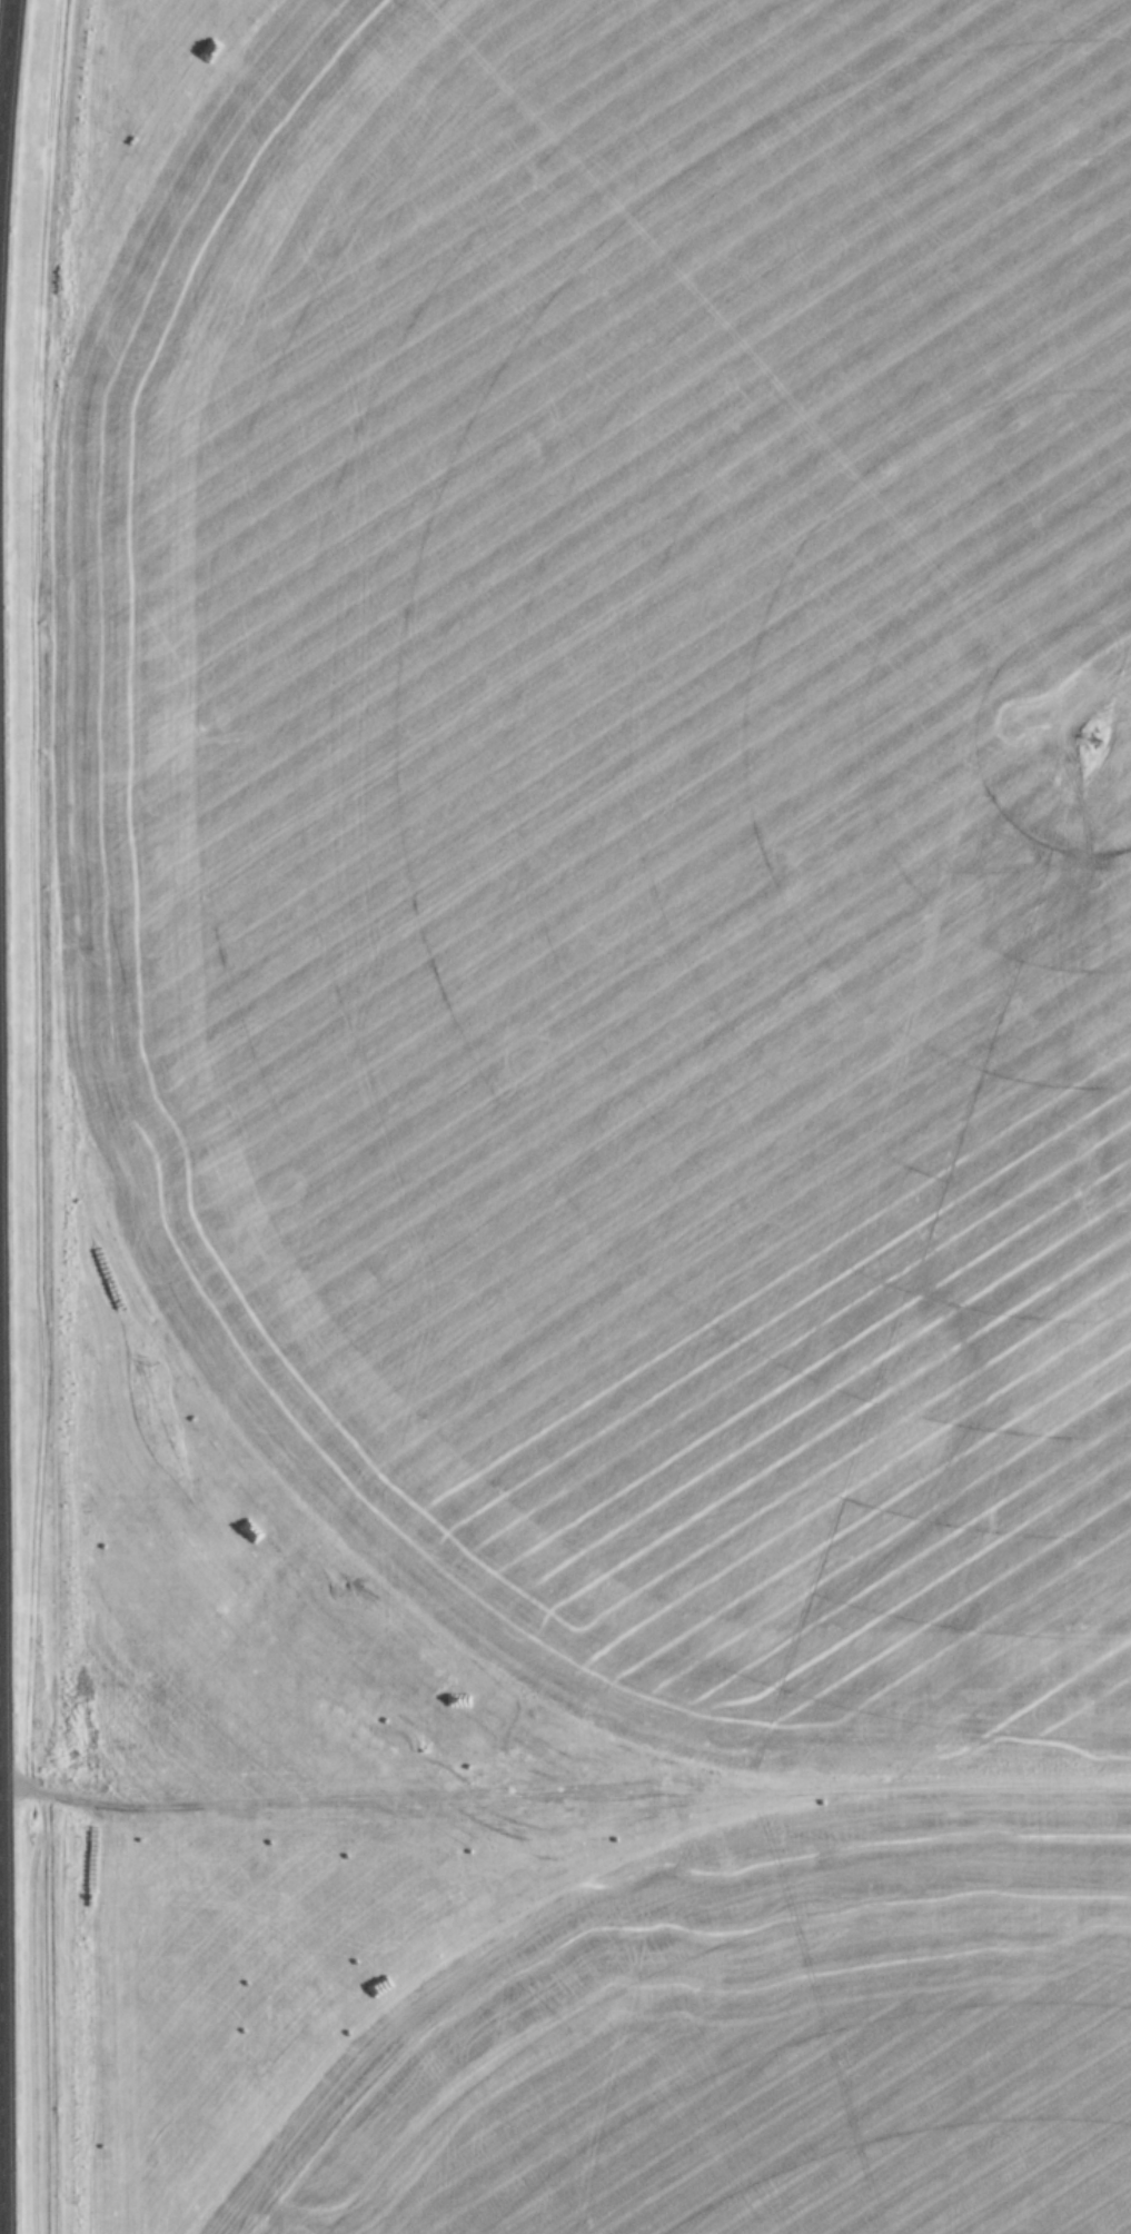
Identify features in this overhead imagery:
road: (7, 105)
road: (3, 1836)

